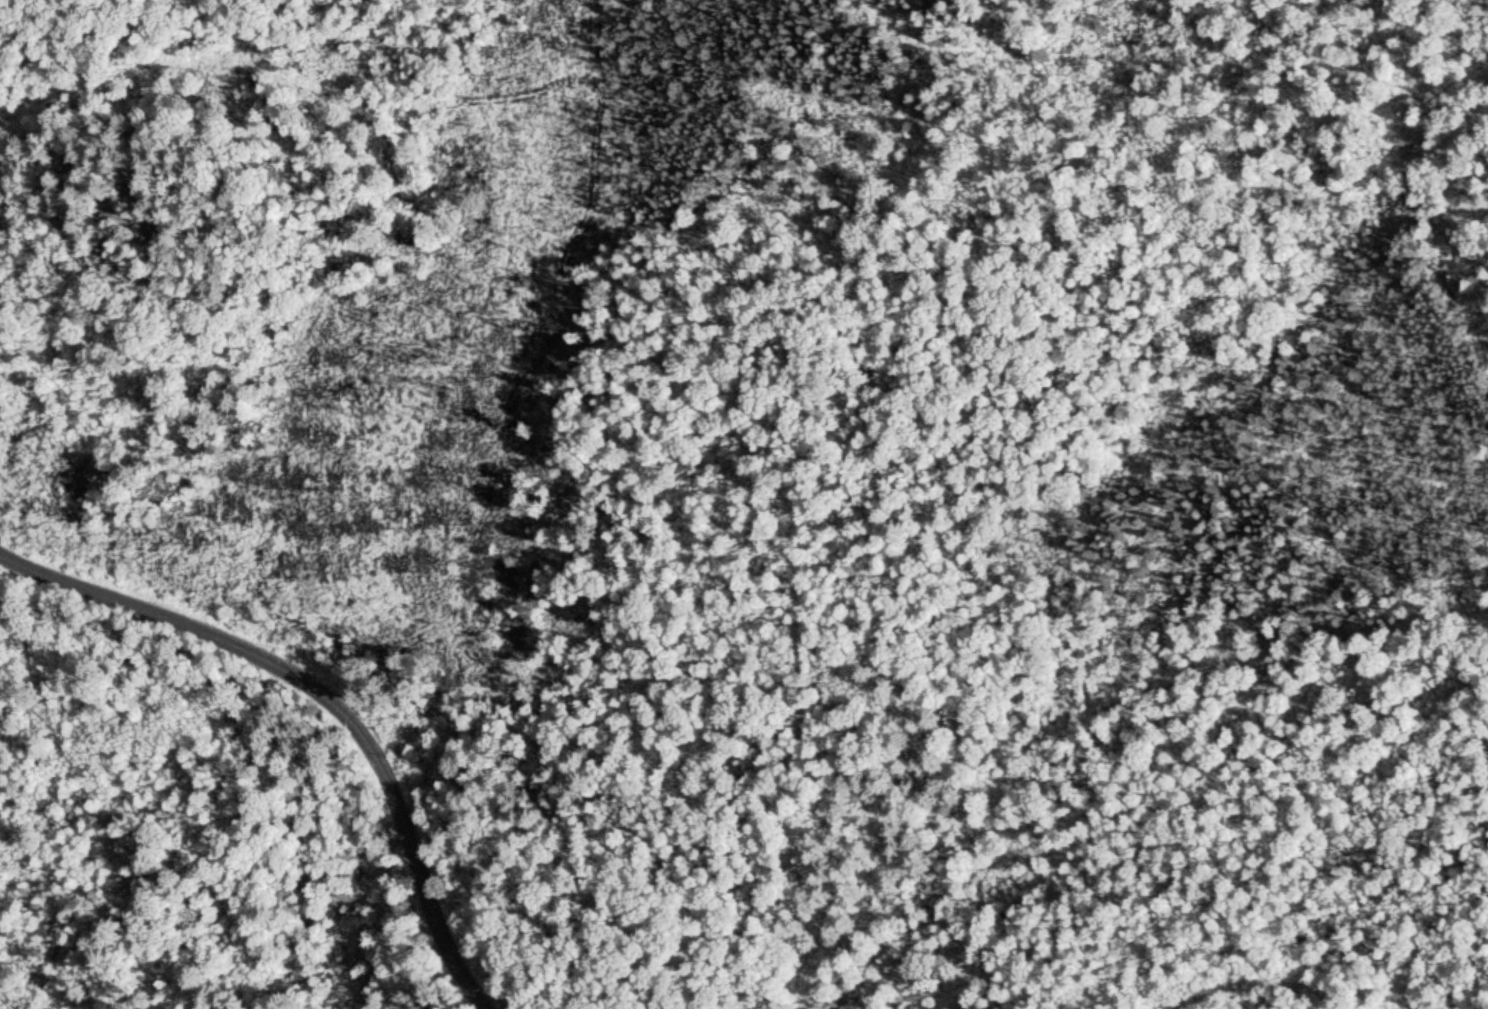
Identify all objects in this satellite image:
road: (329, 690)

